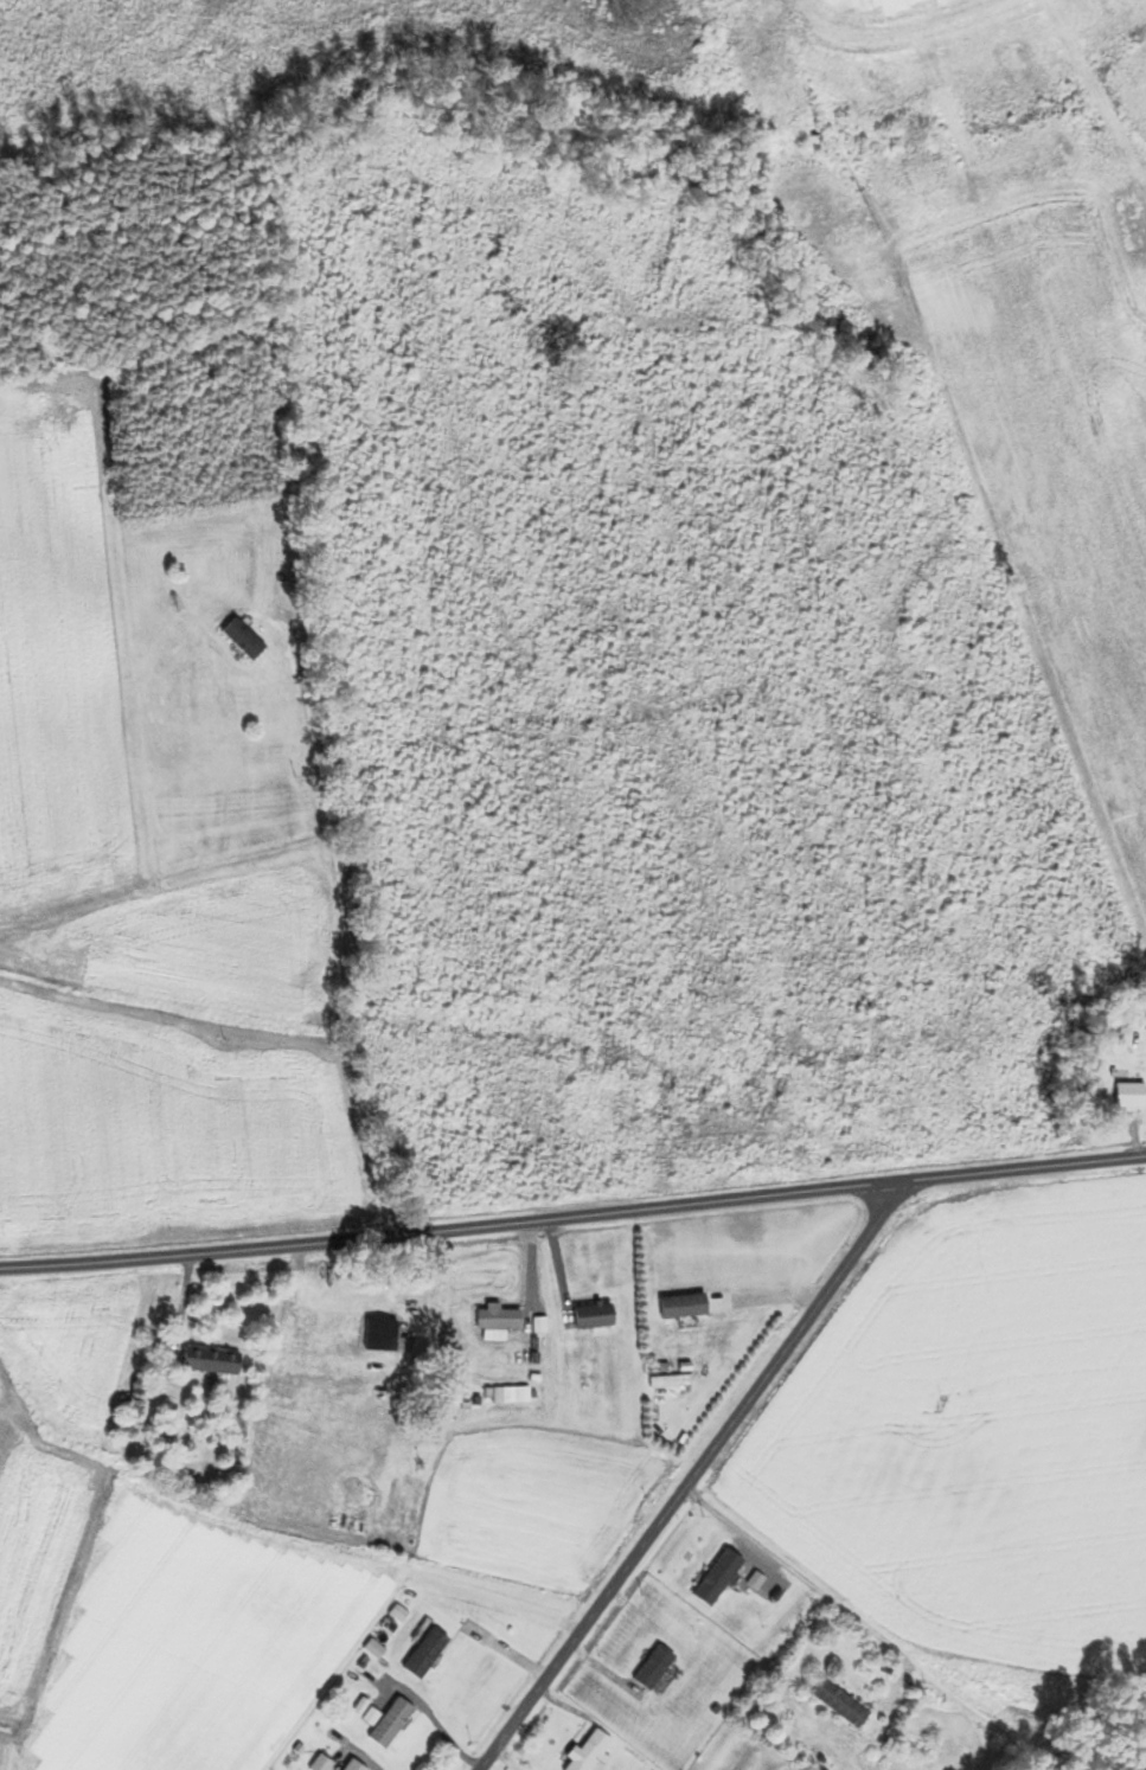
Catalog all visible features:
building: (236, 641)
building: (1122, 1097)
road: (572, 1218)
building: (676, 1307)
building: (584, 1317)
building: (491, 1321)
building: (203, 1364)
building: (492, 1396)
building: (516, 1396)
road: (689, 1480)
building: (710, 1579)
building: (418, 1654)
building: (646, 1668)
building: (832, 1704)
building: (384, 1725)
building: (582, 1752)
road: (500, 1762)
building: (345, 1765)

